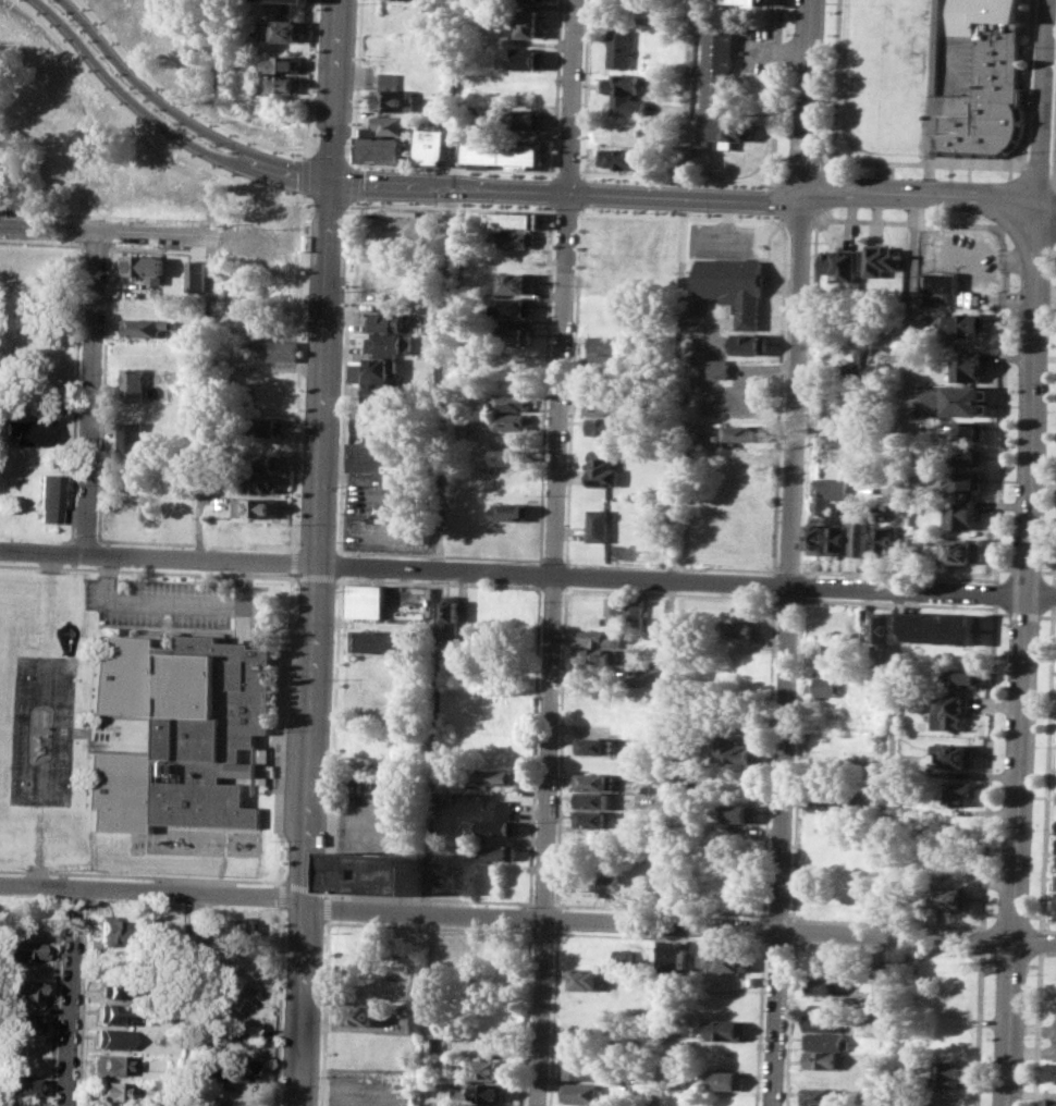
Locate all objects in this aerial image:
building: (302, 0)
building: (538, 0)
building: (756, 2)
building: (531, 23)
street lamp: (73, 24)
building: (282, 30)
street lamp: (1033, 46)
building: (618, 48)
road: (217, 49)
building: (528, 58)
building: (285, 63)
street lamp: (823, 69)
building: (987, 78)
road: (307, 81)
road: (358, 82)
building: (281, 85)
road: (556, 89)
road: (584, 90)
street lamp: (134, 91)
road: (333, 91)
building: (624, 93)
building: (723, 93)
building: (391, 95)
road: (572, 96)
road: (150, 97)
building: (440, 97)
road: (808, 98)
road: (932, 98)
road: (172, 100)
road: (1044, 105)
road: (131, 109)
building: (526, 119)
road: (137, 130)
building: (624, 134)
building: (383, 138)
street lamp: (206, 143)
building: (433, 145)
street lamp: (1029, 150)
building: (503, 151)
street lamp: (821, 151)
building: (622, 157)
road: (782, 157)
road: (807, 161)
road: (924, 163)
street lamp: (397, 169)
road: (453, 169)
road: (1036, 170)
street lamp: (840, 172)
road: (1053, 173)
street lamp: (493, 174)
road: (566, 175)
road: (298, 177)
street lamp: (918, 177)
road: (302, 179)
street lamp: (586, 180)
street lamp: (997, 180)
street lamp: (662, 182)
road: (764, 182)
road: (355, 183)
street lamp: (756, 186)
road: (449, 187)
road: (553, 192)
road: (579, 192)
road: (922, 195)
road: (686, 198)
road: (302, 200)
road: (453, 202)
road: (565, 209)
road: (1048, 211)
road: (40, 212)
road: (680, 212)
road: (106, 216)
road: (82, 217)
building: (514, 219)
road: (798, 219)
road: (82, 229)
road: (105, 231)
building: (515, 238)
road: (971, 255)
parking lot: (972, 256)
street lamp: (1052, 256)
building: (882, 259)
building: (842, 263)
building: (143, 265)
building: (514, 283)
building: (941, 285)
building: (739, 295)
building: (516, 306)
road: (1004, 312)
building: (388, 320)
building: (966, 323)
street lamp: (1049, 324)
building: (146, 327)
building: (516, 336)
building: (390, 343)
building: (607, 343)
building: (283, 349)
building: (607, 361)
building: (865, 365)
building: (720, 367)
building: (967, 367)
building: (376, 376)
road: (346, 377)
road: (296, 378)
road: (545, 383)
building: (135, 384)
road: (572, 384)
road: (75, 390)
road: (797, 391)
road: (89, 392)
road: (809, 394)
road: (779, 398)
road: (906, 400)
building: (963, 400)
building: (513, 402)
building: (610, 403)
street lamp: (1046, 410)
building: (514, 421)
building: (266, 427)
building: (611, 427)
building: (969, 430)
building: (30, 431)
building: (744, 434)
building: (842, 434)
building: (133, 438)
building: (839, 453)
building: (968, 455)
building: (509, 456)
building: (377, 458)
building: (266, 463)
building: (603, 469)
building: (967, 481)
building: (263, 483)
building: (831, 491)
building: (49, 499)
street lamp: (1043, 504)
building: (256, 506)
road: (673, 506)
building: (511, 511)
building: (962, 517)
building: (600, 525)
building: (416, 533)
building: (820, 534)
building: (862, 537)
road: (84, 539)
building: (839, 539)
building: (886, 541)
road: (193, 543)
building: (961, 550)
road: (440, 552)
road: (442, 554)
road: (552, 560)
road: (564, 561)
road: (291, 562)
road: (340, 564)
road: (673, 566)
street lamp: (1041, 566)
road: (394, 567)
road: (144, 570)
road: (789, 570)
road: (533, 574)
road: (567, 574)
road: (897, 574)
road: (292, 577)
road: (315, 577)
road: (340, 578)
road: (440, 582)
road: (773, 583)
road: (801, 583)
road: (528, 585)
road: (551, 588)
road: (922, 590)
road: (670, 592)
road: (995, 592)
road: (786, 598)
building: (366, 601)
parking lot: (174, 602)
road: (174, 603)
road: (895, 603)
building: (617, 609)
building: (637, 611)
building: (449, 615)
building: (938, 626)
building: (882, 627)
building: (740, 629)
building: (602, 638)
building: (379, 641)
road: (316, 644)
road: (551, 649)
building: (601, 656)
road: (1023, 658)
building: (648, 676)
building: (963, 678)
building: (827, 686)
building: (949, 710)
road: (283, 728)
building: (180, 733)
road: (333, 737)
road: (560, 745)
building: (593, 745)
road: (533, 747)
building: (737, 750)
road: (797, 753)
building: (956, 753)
road: (766, 755)
building: (876, 775)
building: (492, 776)
building: (592, 781)
building: (959, 792)
building: (443, 797)
building: (827, 798)
building: (591, 800)
building: (498, 808)
building: (737, 812)
parking lot: (383, 813)
road: (356, 820)
building: (592, 820)
building: (496, 827)
road: (781, 846)
road: (888, 847)
building: (494, 851)
road: (984, 864)
building: (379, 873)
road: (142, 874)
building: (609, 883)
road: (304, 886)
road: (281, 895)
road: (427, 897)
building: (949, 897)
road: (32, 898)
road: (74, 900)
road: (541, 902)
road: (184, 904)
building: (1055, 905)
road: (327, 907)
road: (658, 907)
road: (775, 913)
road: (527, 917)
road: (527, 918)
road: (554, 918)
road: (429, 926)
road: (983, 926)
building: (241, 929)
road: (761, 929)
road: (541, 932)
building: (103, 935)
road: (658, 936)
road: (982, 937)
road: (775, 942)
road: (884, 946)
building: (23, 950)
building: (624, 956)
building: (674, 956)
building: (725, 959)
building: (584, 978)
building: (824, 985)
building: (23, 990)
building: (114, 991)
road: (72, 996)
road: (184, 998)
building: (722, 1004)
road: (279, 1007)
building: (114, 1012)
road: (323, 1012)
building: (358, 1015)
road: (521, 1016)
road: (551, 1017)
building: (25, 1022)
road: (758, 1022)
building: (821, 1022)
building: (410, 1024)
road: (979, 1027)
building: (723, 1029)
building: (111, 1039)
building: (581, 1040)
building: (825, 1040)
building: (440, 1045)
building: (823, 1059)
building: (113, 1064)
building: (439, 1065)
building: (580, 1068)
building: (234, 1069)
building: (487, 1069)
building: (1052, 1069)
building: (948, 1073)
building: (722, 1080)
building: (22, 1085)
parking lot: (365, 1089)
building: (109, 1090)
building: (481, 1092)
building: (580, 1092)
building: (816, 1094)
building: (1051, 1102)
building: (17, 1104)
building: (498, 1105)

